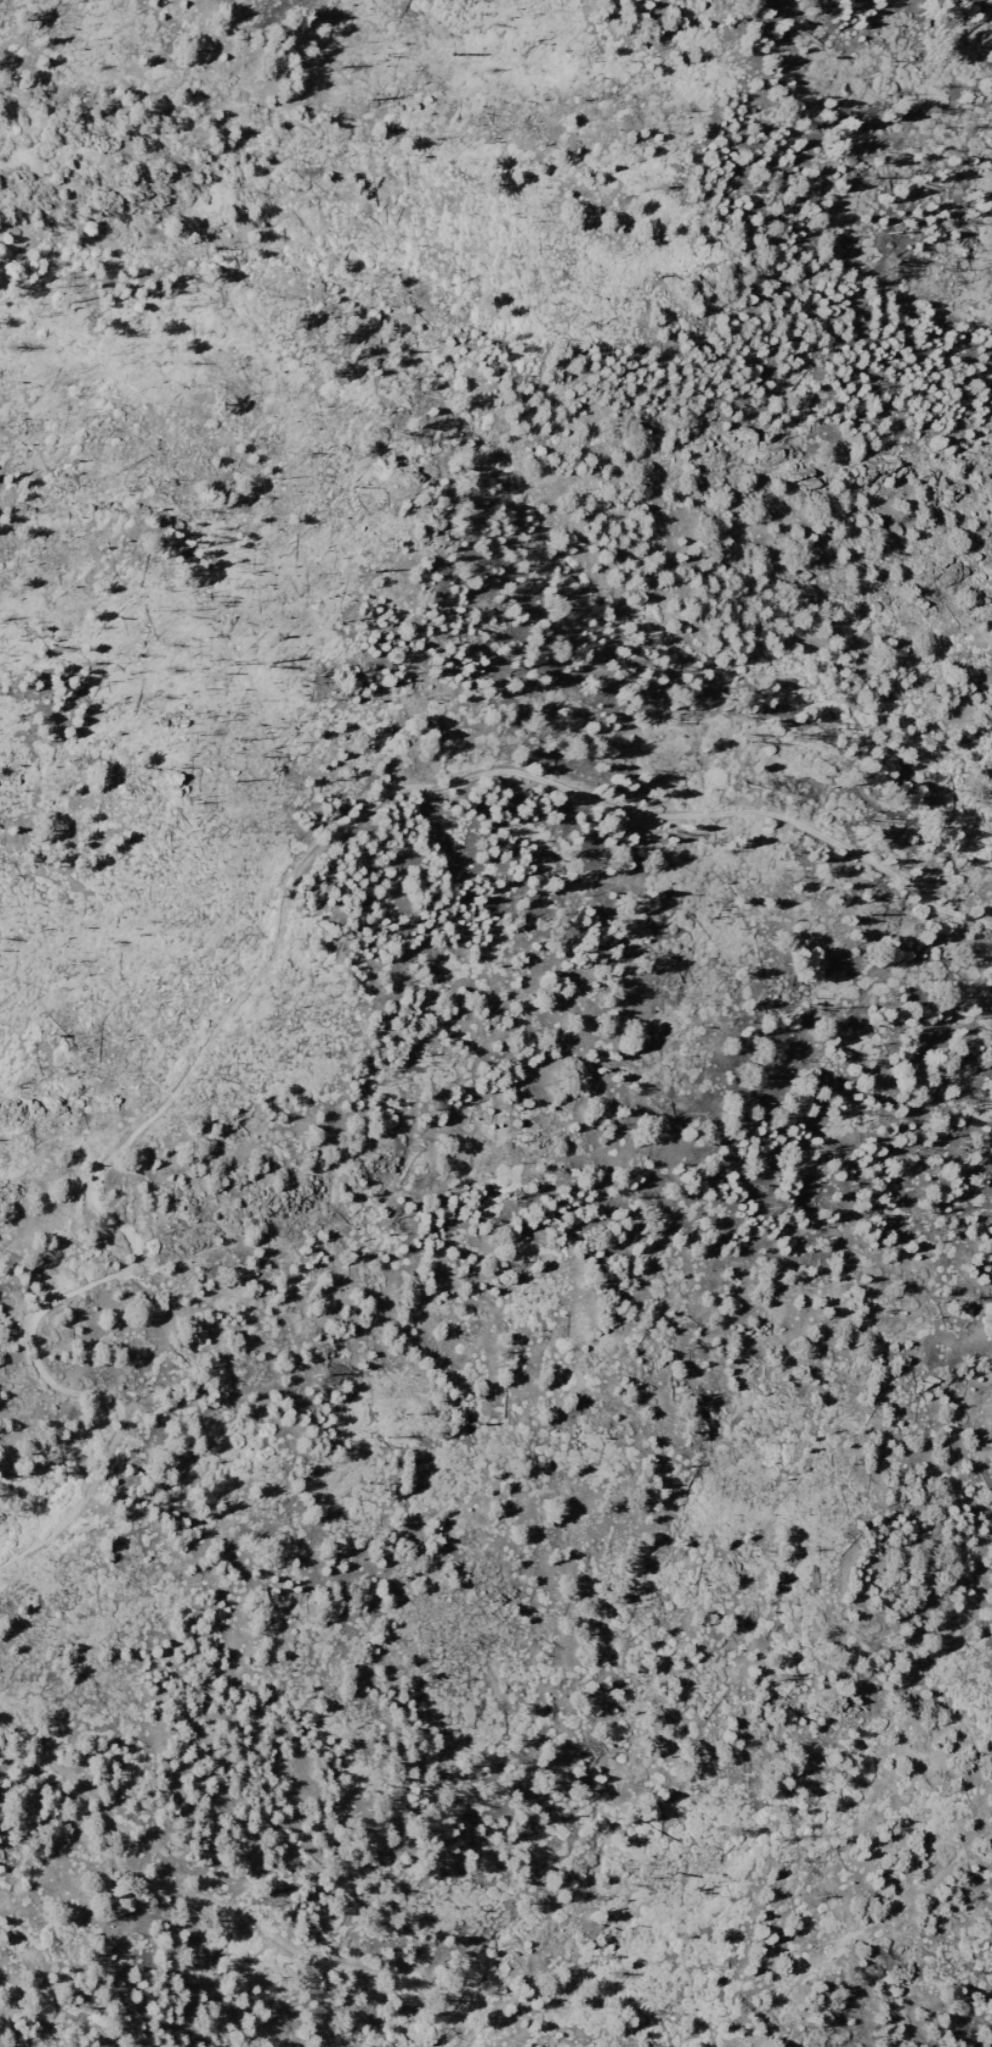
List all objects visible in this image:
road: (274, 959)
road: (227, 1911)

